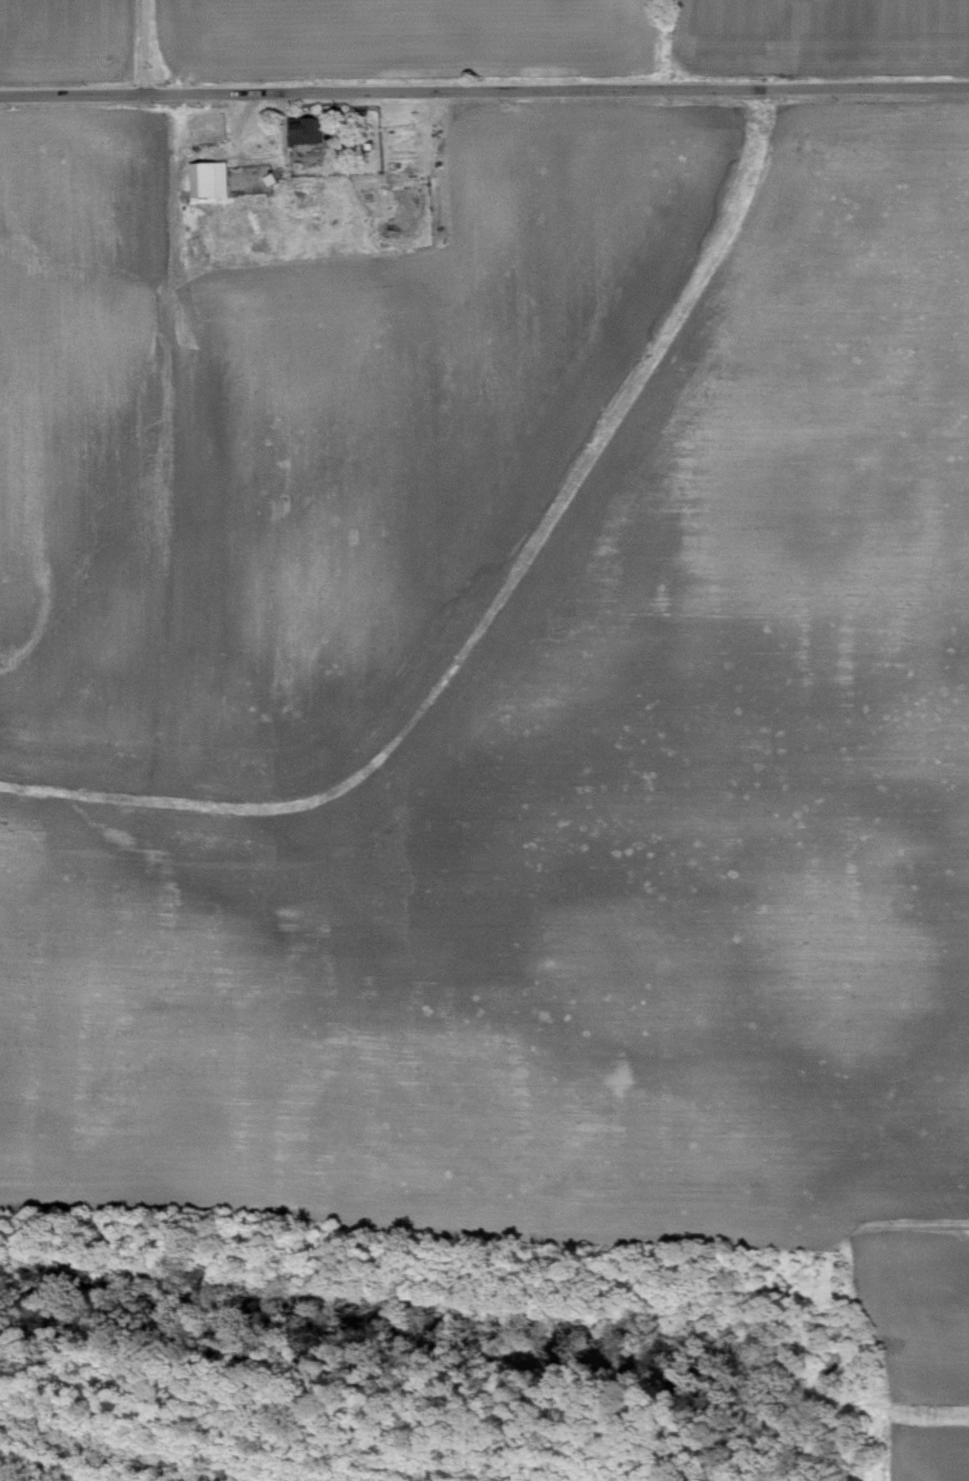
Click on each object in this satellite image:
road: (140, 47)
road: (484, 91)
building: (306, 131)
building: (207, 178)

